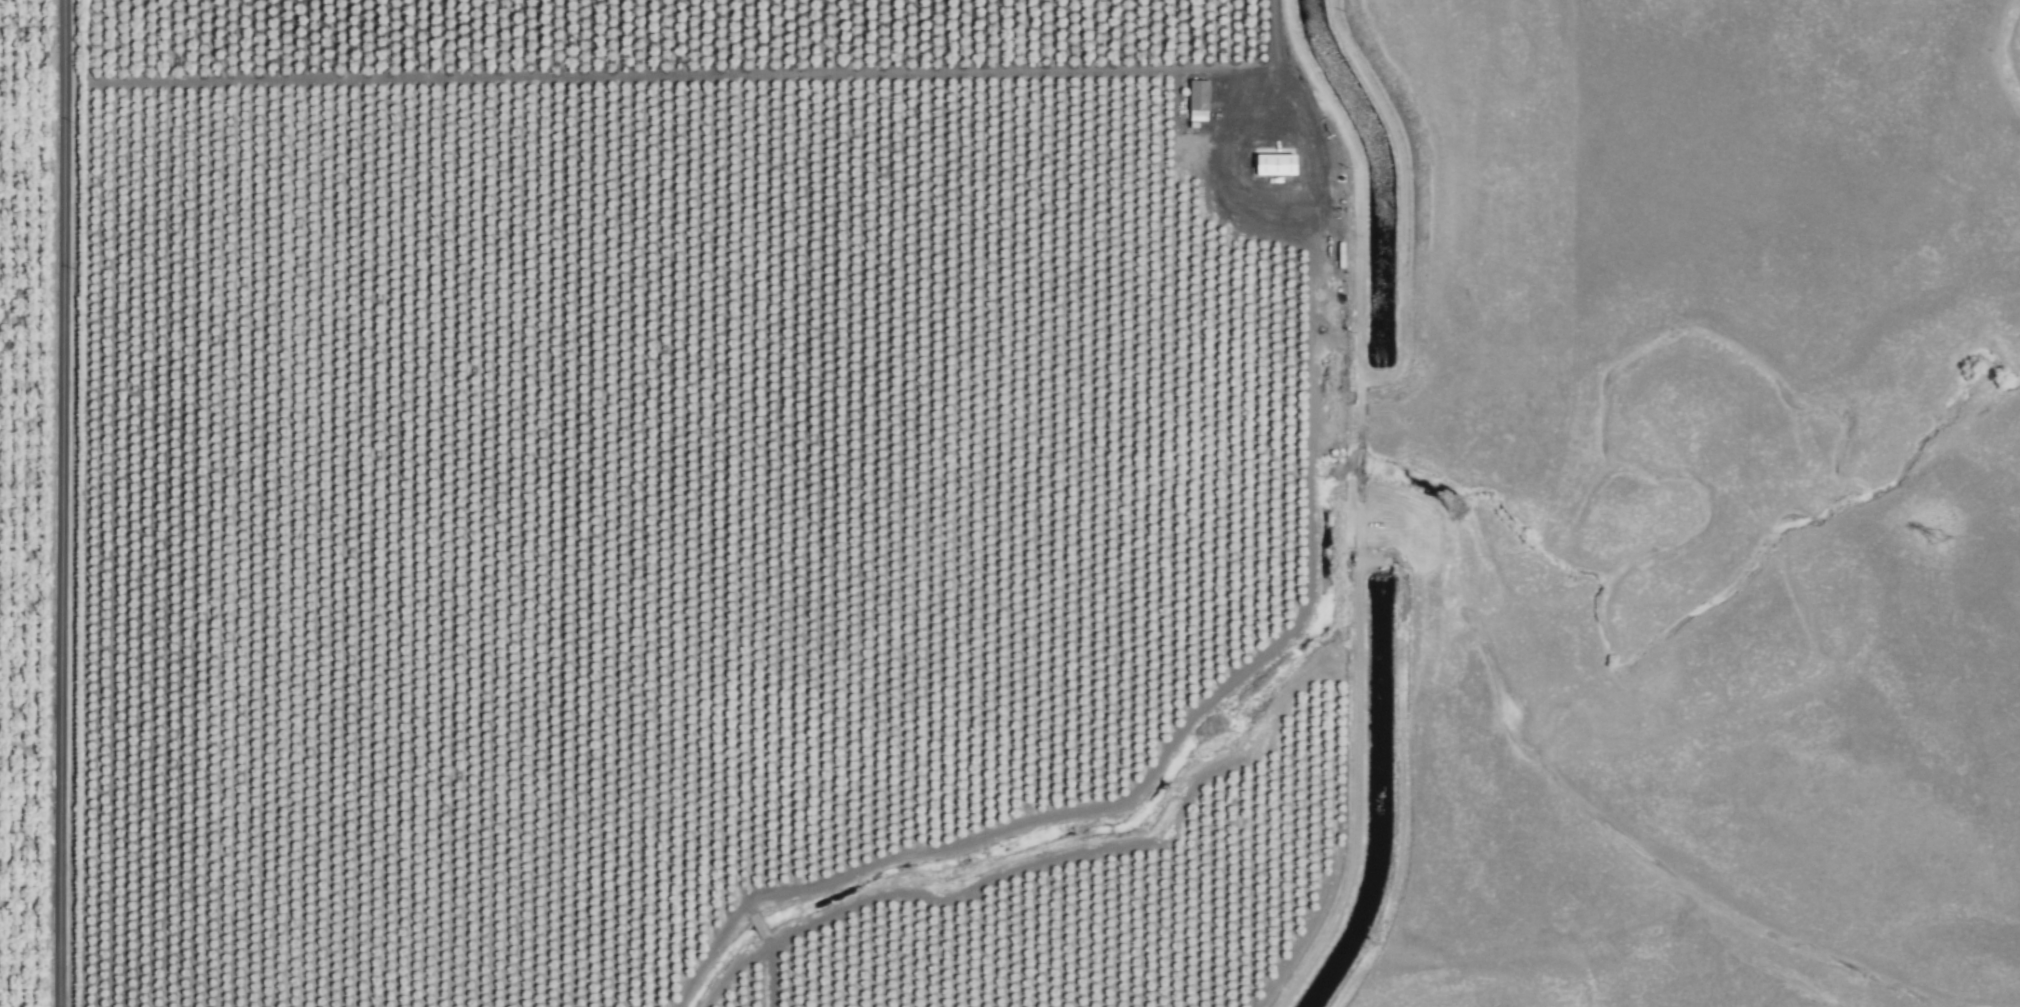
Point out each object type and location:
road: (61, 503)
power tower: (1932, 539)

